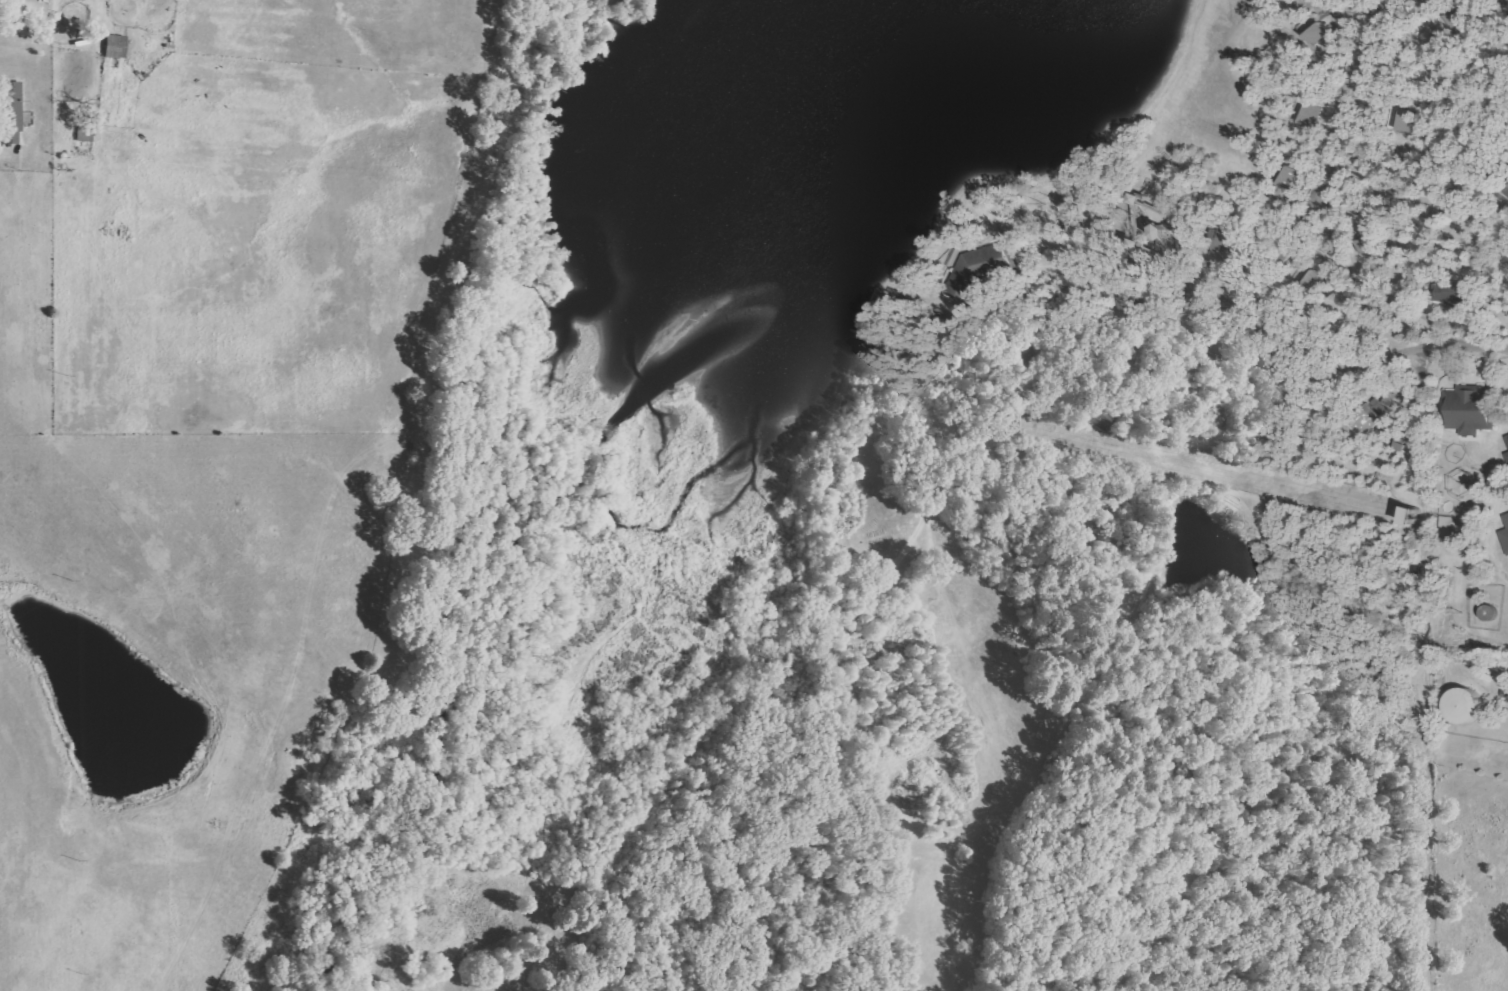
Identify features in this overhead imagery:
road: (96, 1)
road: (1496, 12)
road: (1355, 13)
building: (1460, 18)
road: (1253, 23)
building: (1318, 34)
building: (117, 46)
road: (1246, 78)
building: (13, 111)
building: (1308, 115)
building: (1406, 121)
road: (1414, 141)
road: (1437, 145)
road: (1361, 155)
building: (1289, 177)
building: (1507, 185)
road: (1153, 188)
road: (1085, 196)
building: (1389, 206)
road: (1275, 222)
road: (1486, 222)
road: (981, 238)
building: (1231, 244)
building: (1370, 249)
road: (1379, 249)
building: (989, 259)
building: (964, 280)
road: (1157, 283)
building: (1306, 283)
road: (1261, 284)
road: (1361, 288)
road: (1400, 292)
road: (1066, 293)
building: (1449, 293)
building: (1128, 305)
road: (1451, 330)
building: (1225, 344)
building: (1031, 347)
road: (1242, 361)
road: (1362, 384)
road: (1365, 402)
building: (1468, 409)
building: (1099, 414)
road: (880, 418)
road: (1328, 435)
building: (1507, 439)
road: (1310, 445)
road: (1431, 446)
road: (1474, 455)
building: (1506, 456)
road: (1056, 460)
road: (1396, 478)
road: (1238, 498)
park: (1021, 502)
theme park: (1021, 502)
road: (1495, 523)
building: (1505, 532)
road: (890, 537)
road: (1087, 546)
road: (1448, 553)
road: (880, 588)
road: (1347, 605)
road: (1382, 607)
road: (1065, 628)
road: (984, 633)
road: (1381, 660)
building: (1468, 707)
road: (1465, 763)
road: (1422, 768)
road: (1274, 770)
road: (755, 818)
road: (1253, 857)
road: (751, 869)
road: (656, 898)
road: (759, 944)
road: (1143, 962)
road: (1325, 973)

